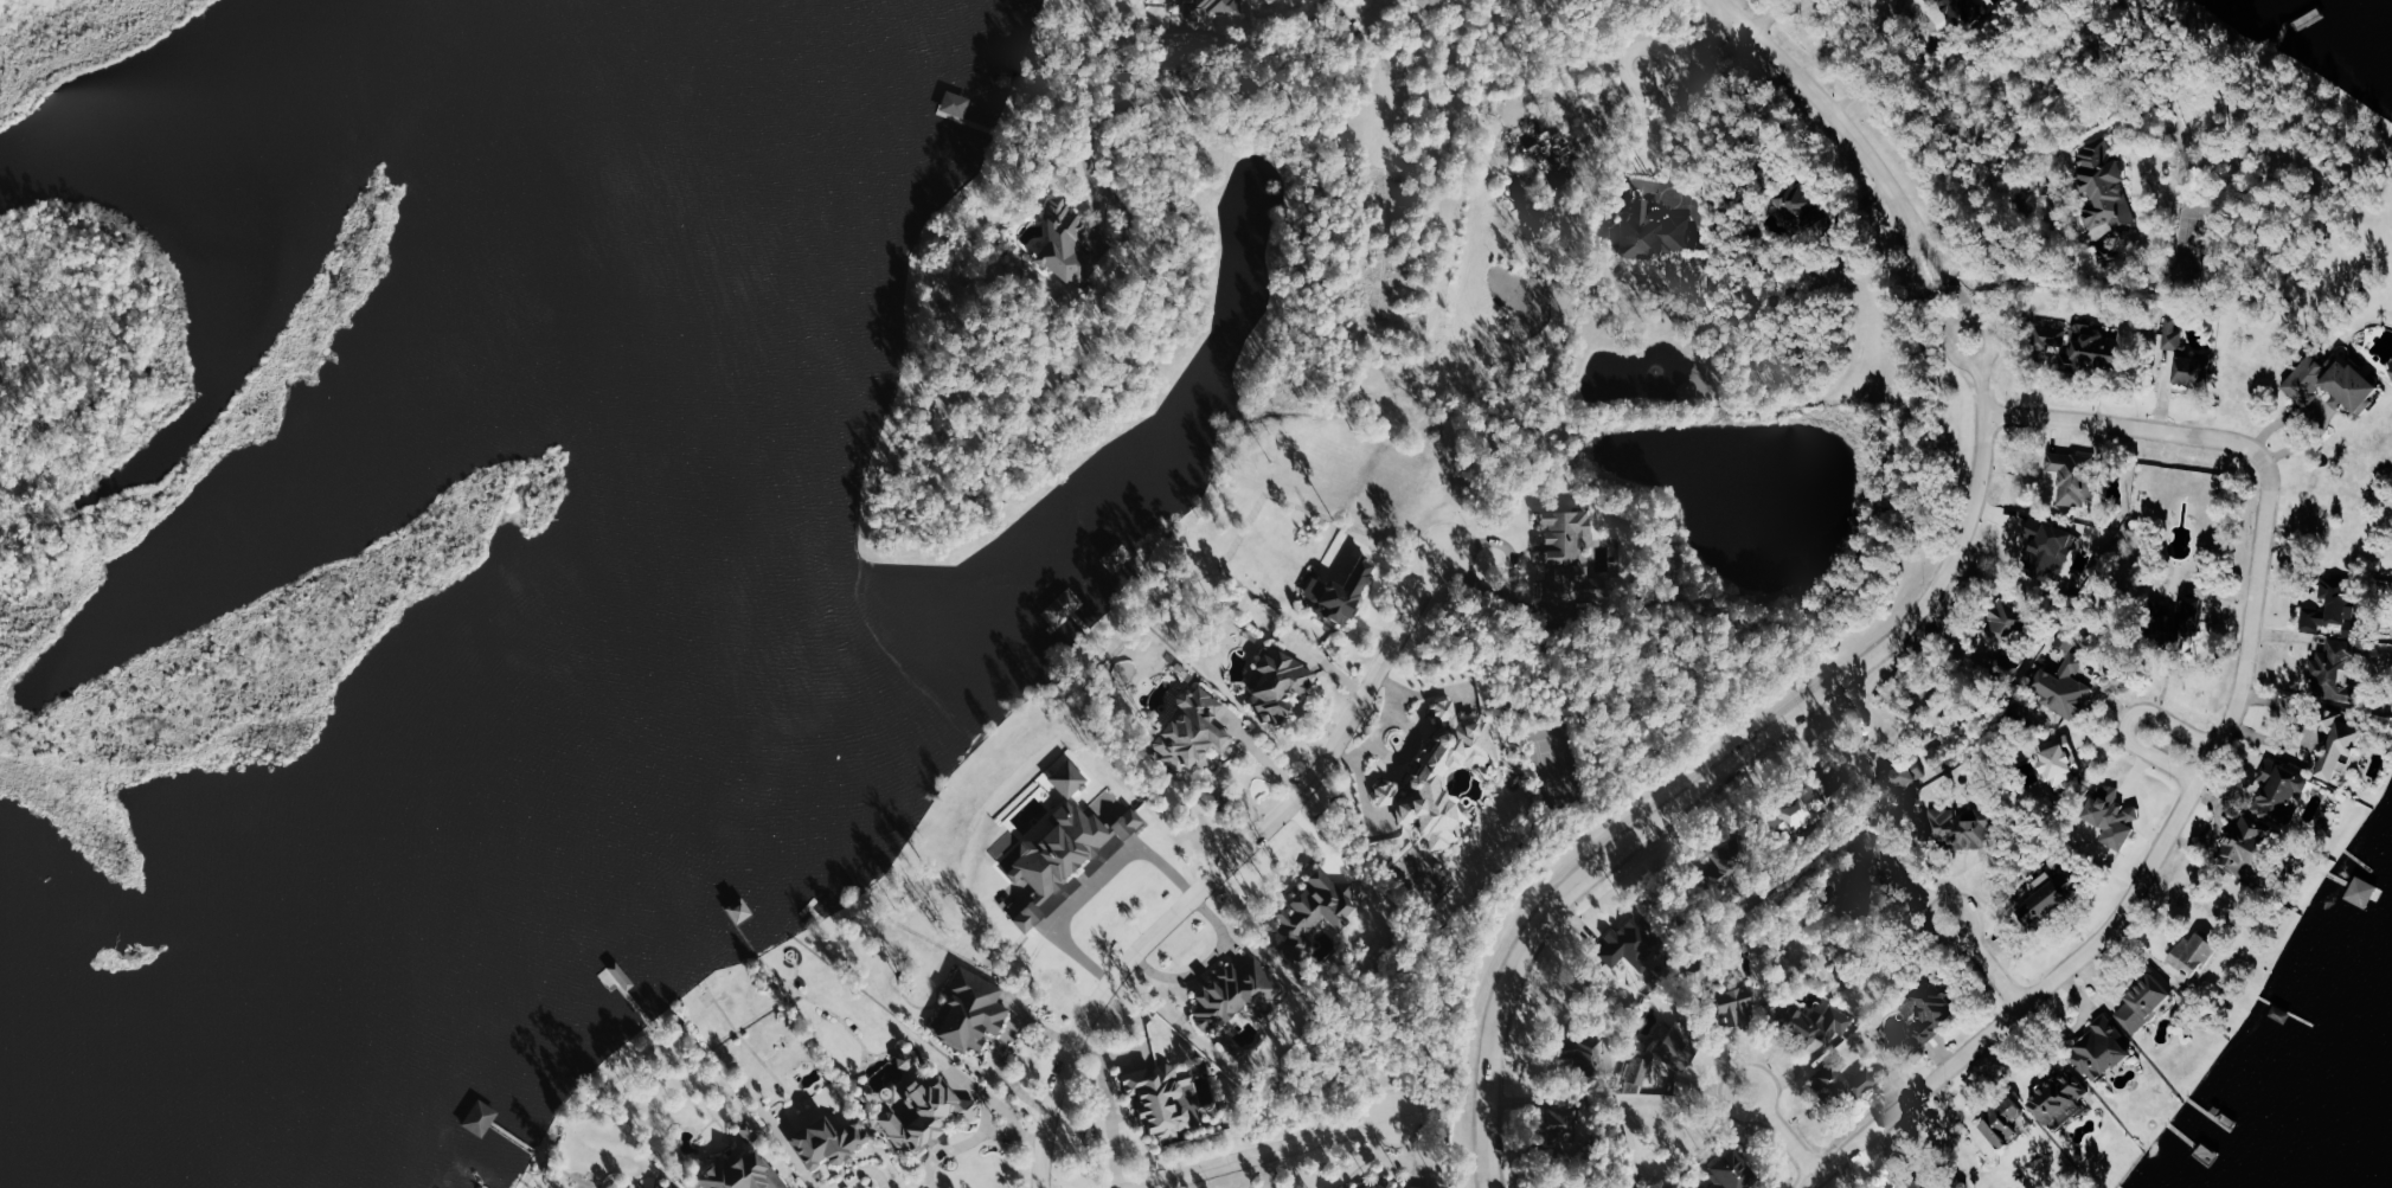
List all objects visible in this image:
road: (1348, 5)
building: (1214, 7)
road: (1765, 17)
road: (1268, 19)
road: (1928, 44)
road: (1701, 50)
road: (1878, 63)
road: (1628, 66)
road: (1179, 90)
building: (956, 103)
road: (1576, 108)
road: (1826, 108)
road: (1673, 135)
building: (1556, 155)
road: (2027, 180)
building: (2105, 187)
building: (1800, 206)
building: (1654, 233)
building: (1066, 244)
road: (1934, 255)
road: (1915, 265)
road: (1961, 322)
road: (1981, 322)
road: (1950, 335)
building: (2079, 347)
building: (2187, 357)
building: (2333, 384)
road: (1982, 394)
road: (2155, 430)
building: (2076, 476)
building: (2047, 548)
building: (1569, 566)
building: (1340, 593)
building: (1064, 608)
building: (2332, 611)
building: (2183, 619)
building: (2008, 623)
building: (2009, 666)
building: (2336, 672)
building: (1278, 685)
building: (2065, 687)
building: (1193, 731)
building: (2345, 750)
road: (1263, 753)
road: (2168, 756)
building: (1906, 776)
building: (1445, 777)
building: (1069, 778)
road: (1708, 785)
building: (2281, 789)
building: (1386, 795)
building: (1800, 810)
building: (2112, 816)
building: (1961, 828)
building: (2249, 843)
building: (1064, 854)
building: (1877, 854)
building: (1729, 859)
road: (1226, 869)
road: (1089, 881)
building: (2364, 892)
road: (2133, 905)
building: (1314, 913)
building: (1630, 945)
building: (2199, 955)
road: (1999, 970)
building: (1235, 994)
building: (2146, 1004)
building: (973, 1009)
building: (1739, 1009)
building: (1930, 1014)
building: (1811, 1025)
building: (1678, 1047)
building: (2103, 1051)
building: (1590, 1057)
building: (1635, 1074)
building: (1838, 1084)
building: (1166, 1099)
building: (2060, 1099)
building: (928, 1115)
road: (1950, 1115)
building: (481, 1117)
building: (1561, 1123)
building: (2006, 1124)
road: (975, 1139)
building: (831, 1141)
road: (1797, 1141)
road: (1268, 1152)
road: (794, 1158)
road: (860, 1171)
building: (1731, 1171)
building: (743, 1173)
building: (1385, 1184)
building: (1919, 1184)
building: (672, 1187)
building: (1417, 1187)

